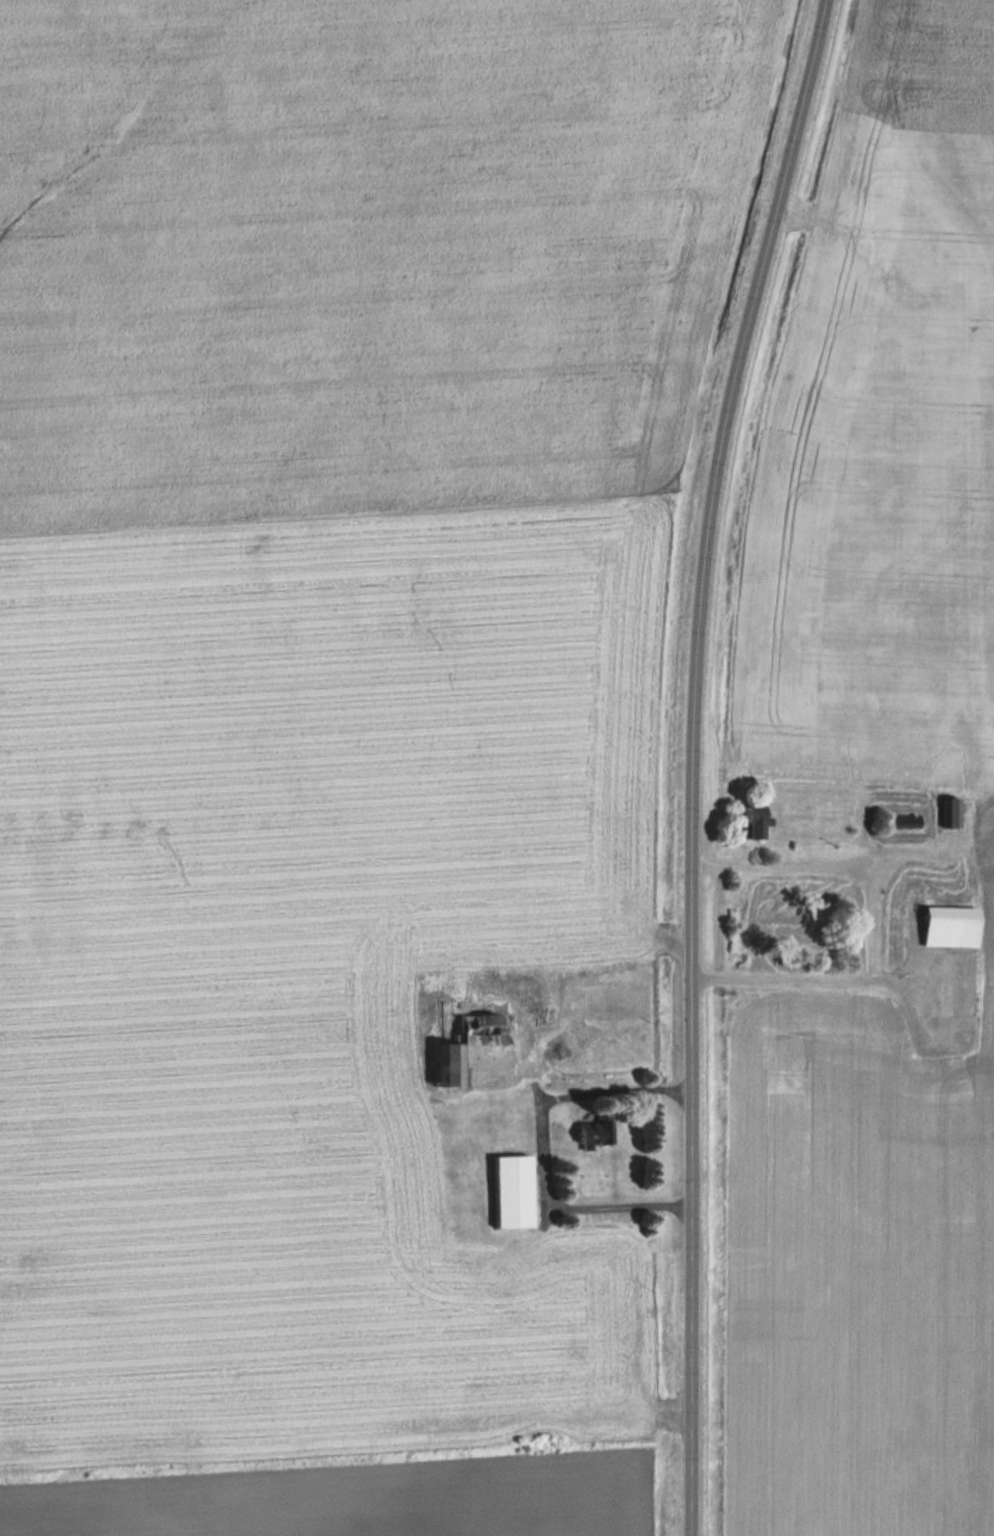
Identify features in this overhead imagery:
road: (694, 760)
building: (952, 815)
building: (757, 824)
building: (952, 929)
building: (547, 1018)
building: (467, 1039)
building: (502, 1129)
building: (596, 1136)
building: (514, 1193)

